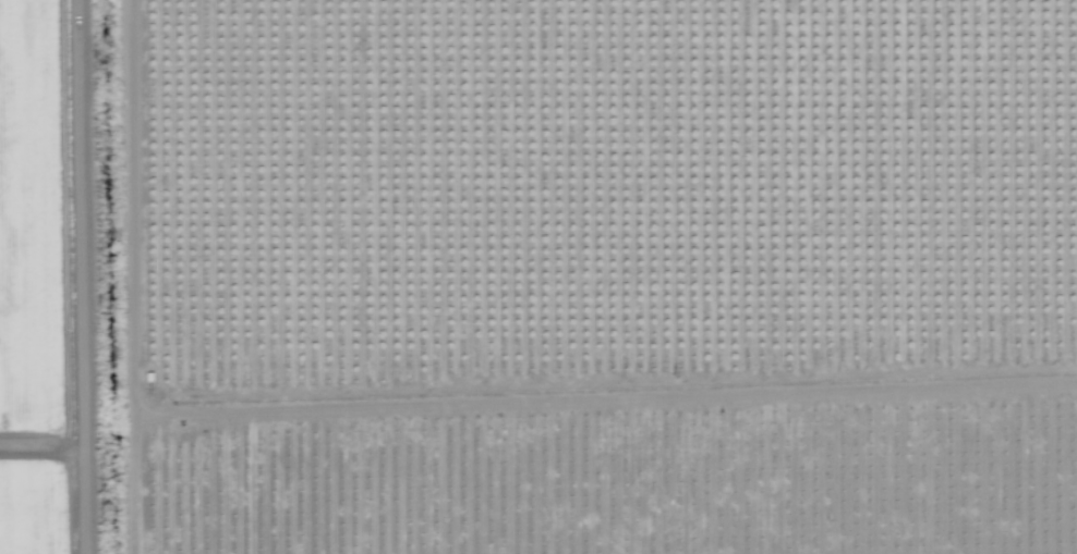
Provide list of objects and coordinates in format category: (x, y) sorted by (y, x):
road: (93, 276)
crop: (538, 276)

